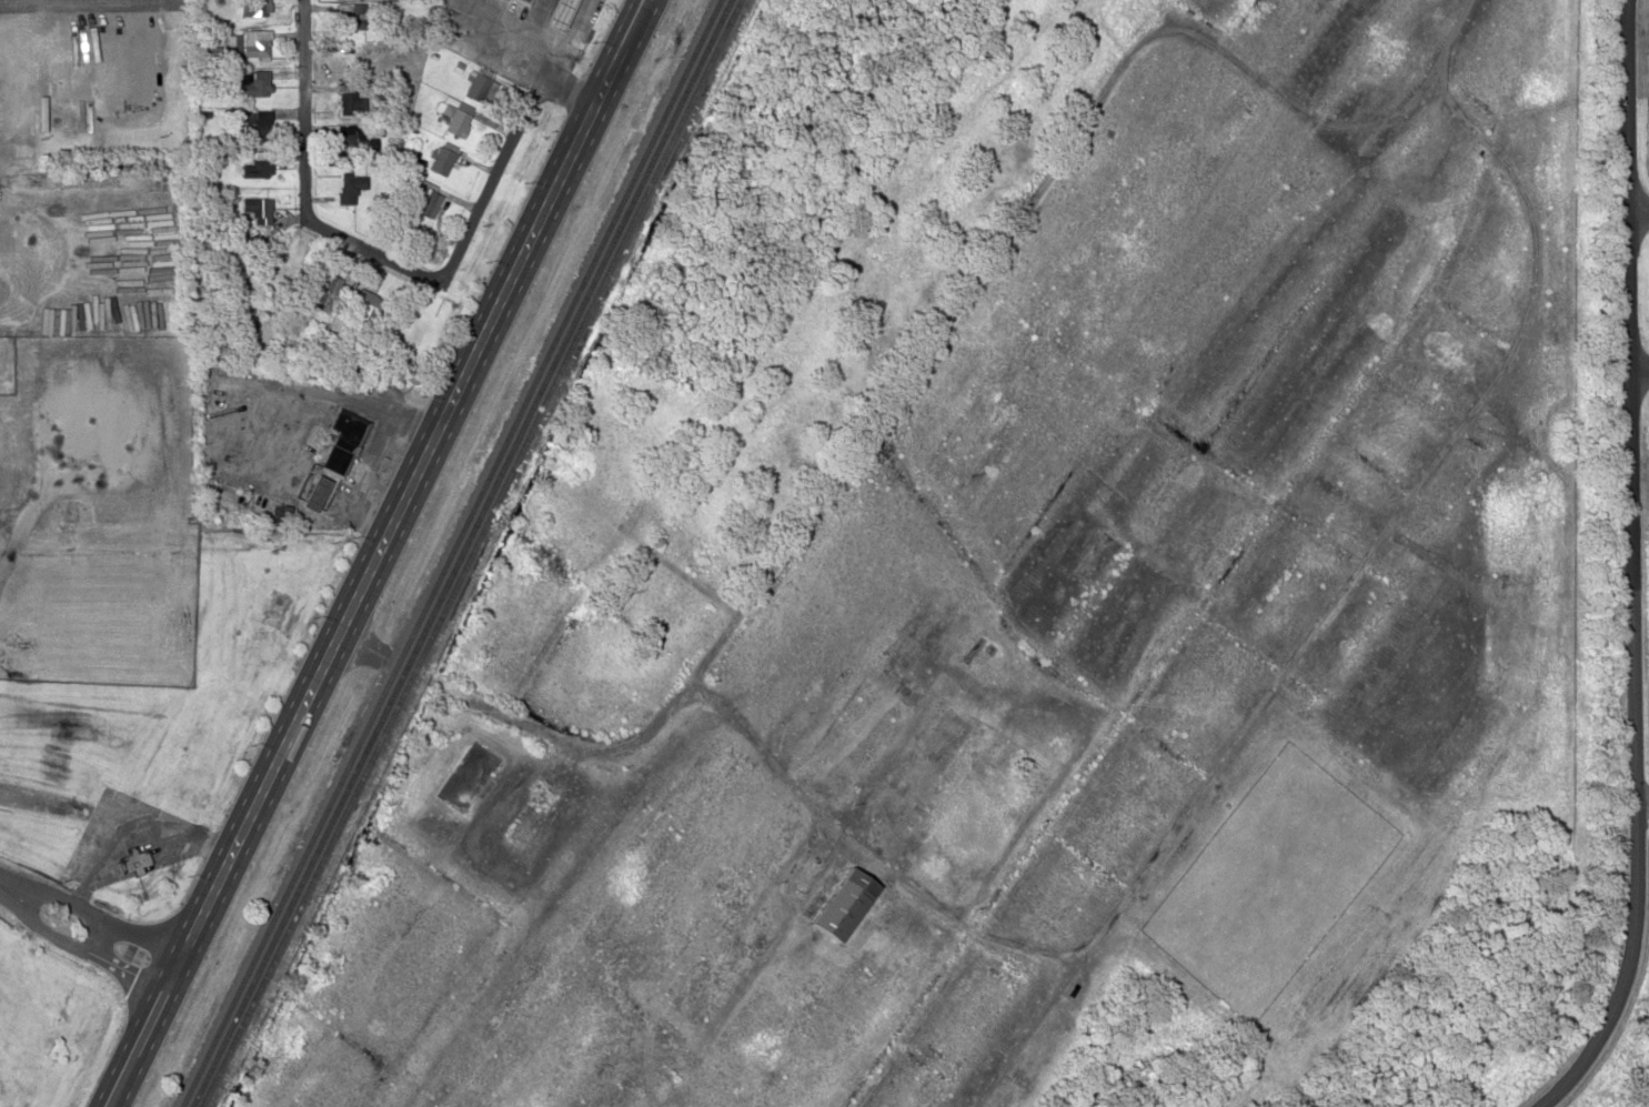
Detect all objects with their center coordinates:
building: (523, 1)
building: (253, 7)
building: (555, 13)
gas station: (555, 13)
building: (352, 16)
building: (251, 42)
building: (255, 81)
building: (477, 82)
building: (0, 83)
building: (350, 99)
road: (306, 109)
building: (454, 115)
building: (258, 122)
building: (352, 138)
road: (509, 145)
building: (441, 159)
building: (257, 164)
building: (351, 185)
building: (420, 192)
building: (257, 209)
road: (378, 249)
building: (223, 255)
building: (289, 263)
building: (322, 290)
building: (364, 305)
road: (491, 318)
building: (7, 414)
building: (332, 460)
railway: (469, 552)
railway: (450, 553)
railway: (460, 553)
road: (1625, 568)
building: (133, 858)
road: (223, 869)
building: (839, 903)
road: (91, 912)
road: (80, 947)
airport: (3, 1101)

